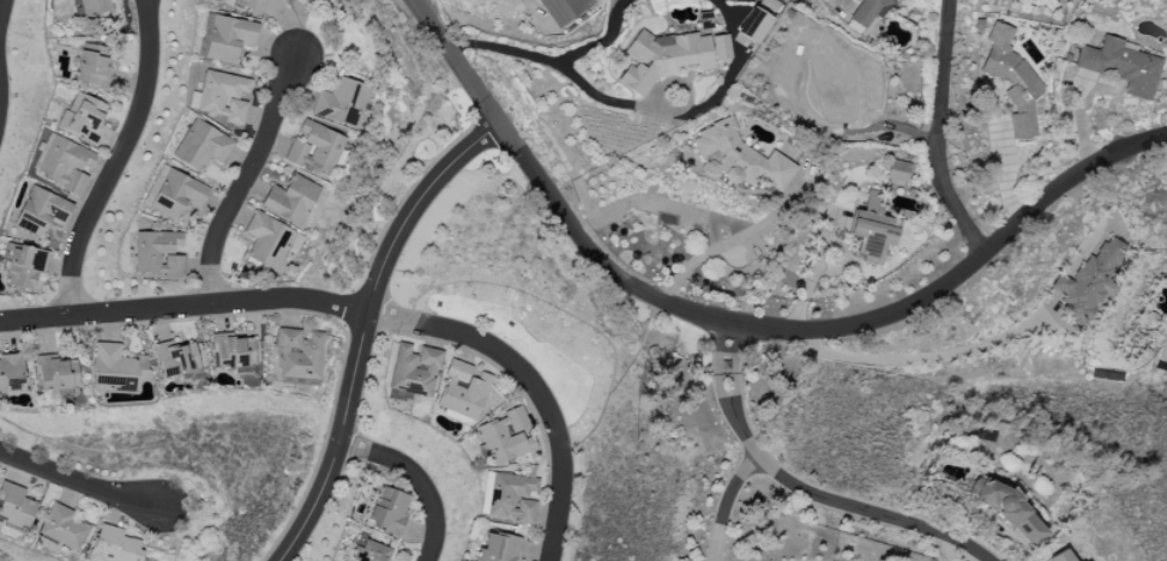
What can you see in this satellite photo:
building: (253, 5)
building: (91, 7)
building: (564, 10)
building: (866, 11)
building: (705, 22)
building: (752, 25)
park: (336, 37)
building: (228, 38)
road: (601, 38)
road: (500, 49)
building: (668, 58)
building: (1121, 66)
road: (733, 68)
building: (1011, 80)
road: (691, 92)
building: (223, 97)
road: (602, 98)
building: (341, 103)
building: (83, 119)
road: (934, 131)
building: (201, 146)
building: (315, 149)
building: (741, 157)
road: (115, 159)
building: (65, 163)
building: (896, 170)
road: (245, 183)
building: (178, 195)
building: (291, 200)
building: (41, 212)
building: (871, 230)
road: (732, 240)
building: (267, 241)
building: (157, 254)
building: (23, 266)
building: (1089, 280)
road: (366, 314)
road: (742, 324)
road: (365, 328)
park: (522, 349)
building: (231, 351)
building: (299, 355)
building: (175, 360)
road: (927, 360)
building: (116, 369)
building: (414, 370)
building: (10, 373)
building: (55, 374)
building: (462, 391)
building: (506, 438)
road: (419, 477)
road: (79, 478)
road: (802, 491)
building: (511, 497)
road: (723, 503)
road: (958, 505)
building: (14, 506)
building: (387, 512)
building: (1011, 513)
building: (62, 527)
building: (113, 545)
building: (498, 548)
building: (369, 553)
building: (1060, 556)

